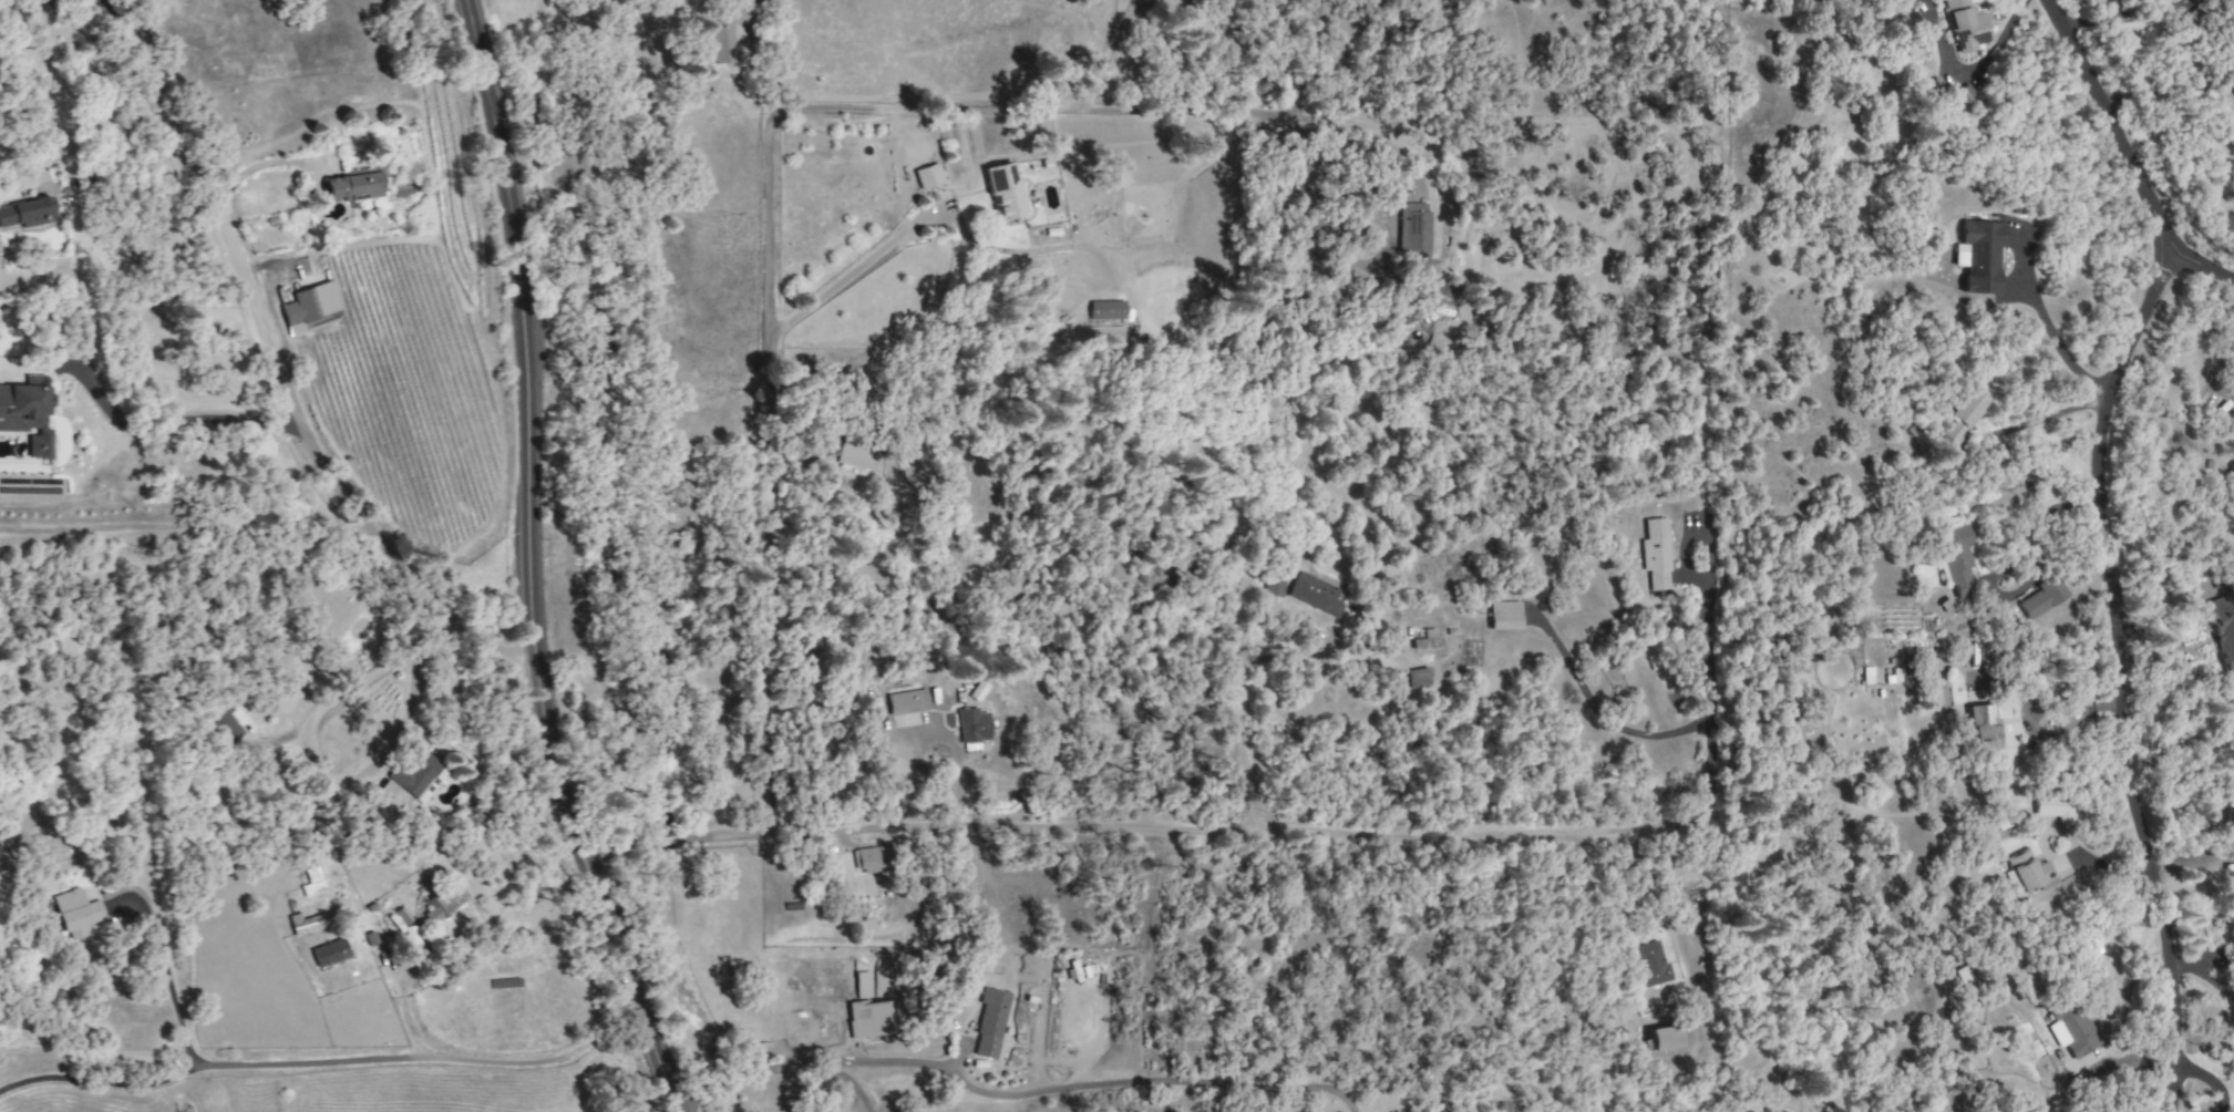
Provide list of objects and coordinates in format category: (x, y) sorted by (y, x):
road: (21, 10)
road: (2115, 20)
building: (2190, 20)
building: (1964, 24)
building: (725, 33)
road: (1114, 45)
road: (1149, 58)
road: (1984, 62)
road: (1301, 84)
road: (2165, 89)
road: (1083, 102)
road: (2124, 155)
building: (927, 176)
building: (354, 185)
building: (1002, 191)
road: (1303, 203)
building: (25, 213)
building: (1413, 233)
road: (776, 250)
building: (1977, 256)
road: (856, 267)
building: (309, 305)
building: (1104, 310)
road: (2053, 334)
road: (2191, 349)
road: (282, 371)
building: (28, 413)
building: (1960, 415)
road: (2049, 418)
road: (174, 421)
building: (847, 451)
road: (2037, 517)
building: (1655, 554)
building: (1956, 559)
road: (534, 564)
building: (1273, 585)
building: (1314, 594)
building: (2041, 597)
building: (1503, 615)
building: (2224, 626)
building: (1425, 640)
road: (1708, 640)
road: (2123, 672)
building: (1417, 678)
road: (2014, 682)
building: (1938, 698)
road: (333, 700)
building: (905, 702)
road: (2041, 711)
road: (1248, 712)
building: (224, 722)
building: (970, 725)
building: (1981, 727)
building: (418, 774)
building: (388, 789)
building: (2053, 806)
road: (1188, 838)
building: (869, 859)
building: (2029, 873)
building: (311, 883)
road: (1670, 893)
building: (441, 903)
building: (75, 913)
building: (307, 924)
building: (328, 953)
building: (1649, 965)
road: (165, 970)
building: (862, 985)
building: (871, 1019)
building: (989, 1022)
building: (2070, 1029)
building: (1664, 1038)
road: (429, 1062)
road: (807, 1067)
road: (99, 1079)
road: (1149, 1079)
road: (2206, 1080)
road: (855, 1087)
building: (1502, 1108)

